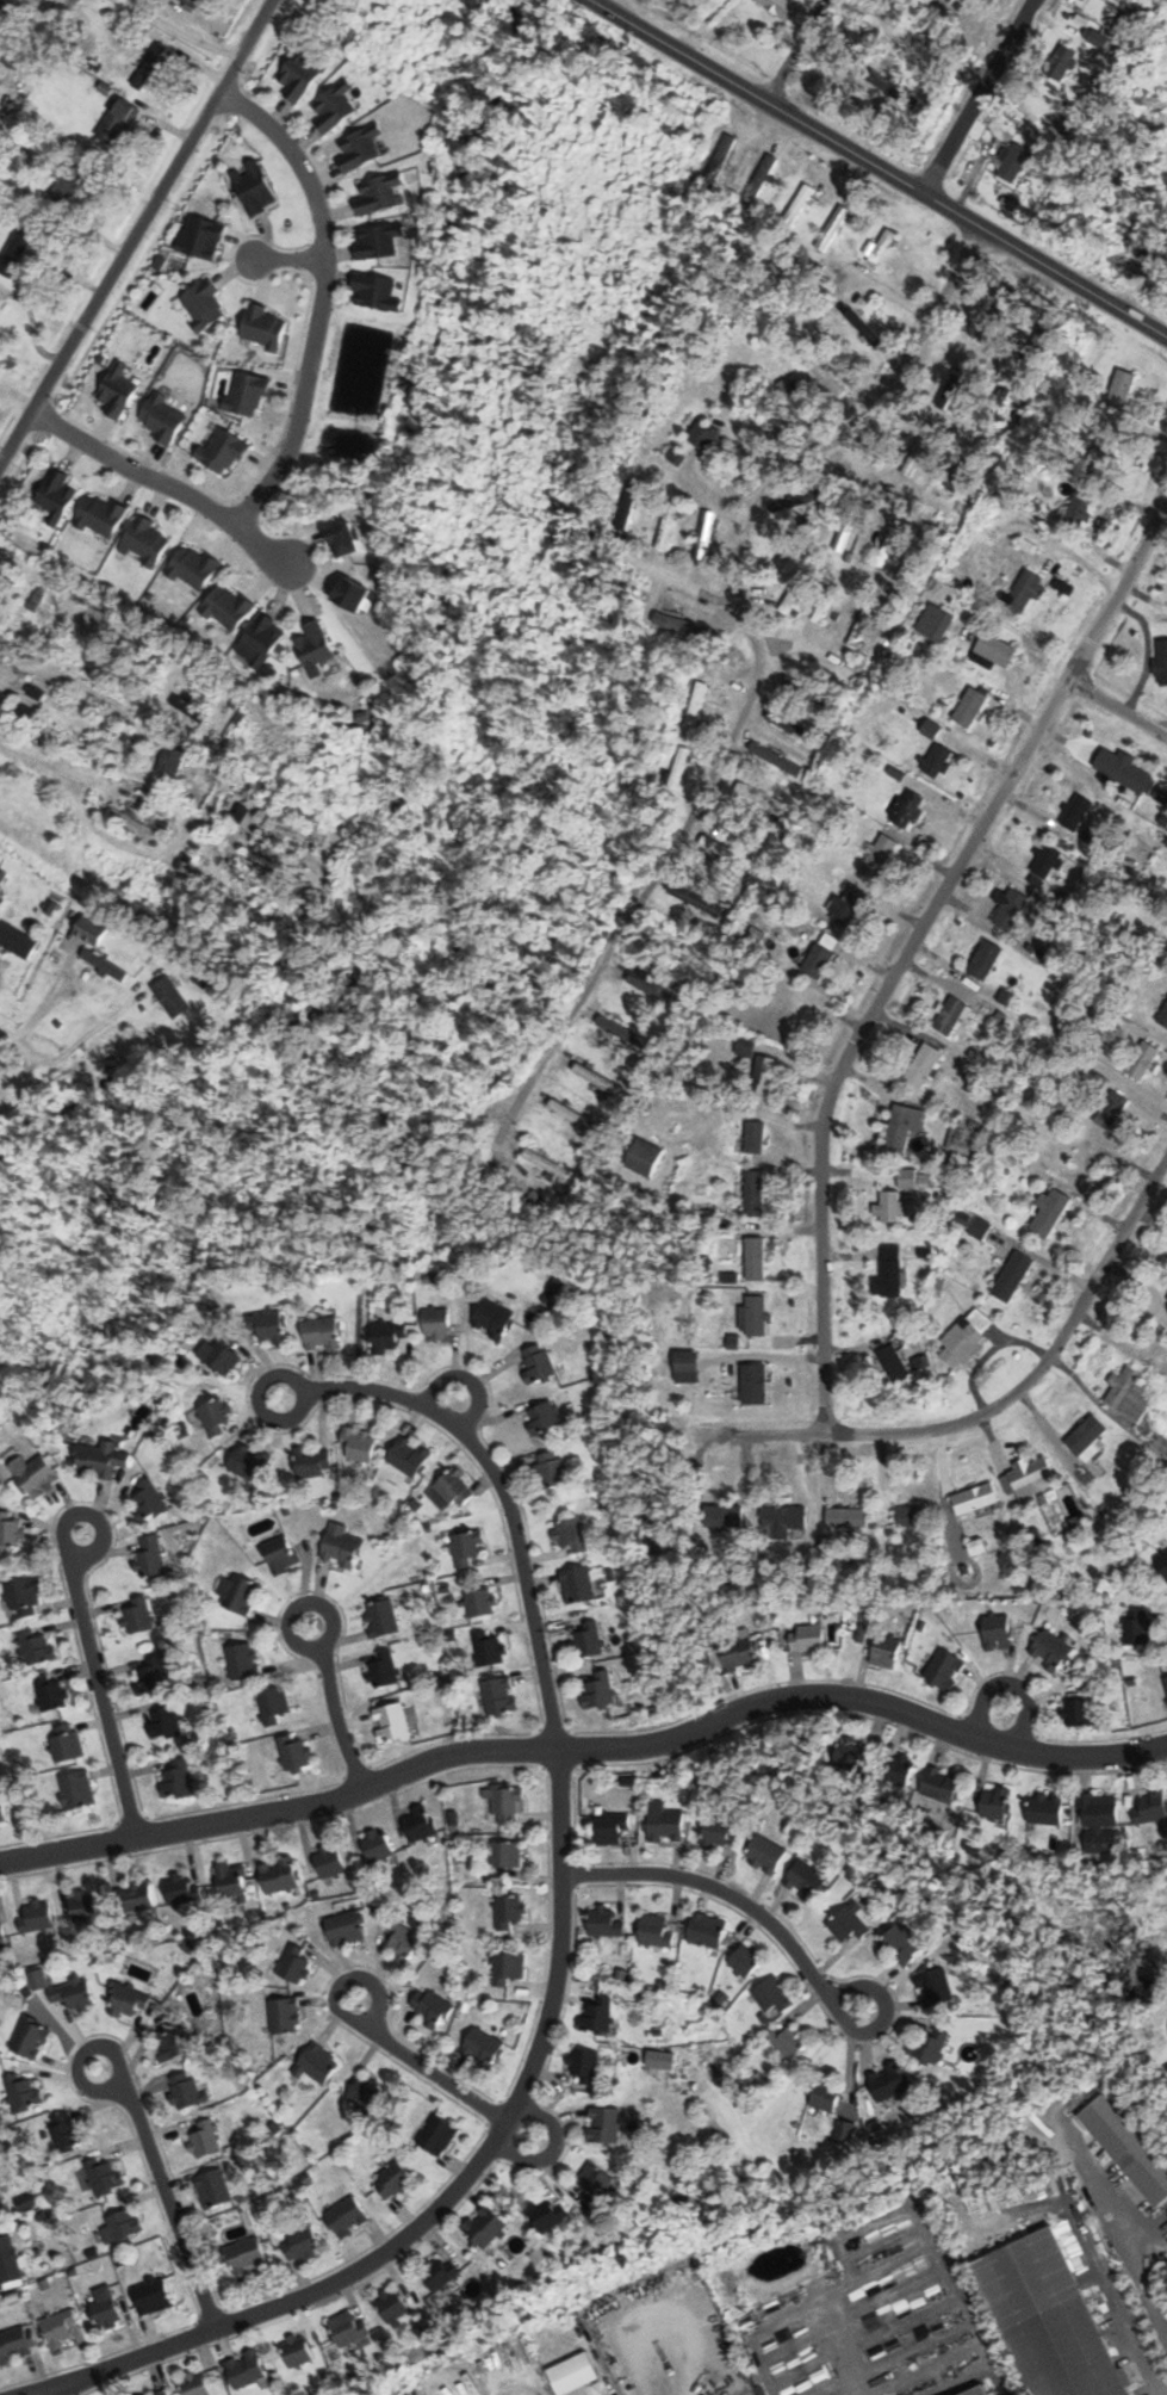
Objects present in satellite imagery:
building: (330, 1)
road: (55, 2)
building: (780, 7)
building: (1166, 24)
road: (181, 29)
building: (1093, 37)
road: (794, 50)
building: (151, 62)
building: (1062, 62)
building: (298, 75)
road: (980, 97)
building: (333, 109)
building: (117, 122)
building: (360, 149)
building: (1020, 156)
road: (879, 167)
building: (67, 184)
building: (255, 190)
building: (378, 194)
building: (833, 229)
road: (136, 230)
building: (378, 241)
building: (881, 248)
building: (15, 252)
road: (286, 256)
road: (1155, 264)
building: (375, 293)
road: (318, 295)
building: (203, 305)
building: (0, 321)
building: (263, 327)
building: (862, 328)
road: (974, 349)
building: (826, 379)
road: (888, 383)
building: (117, 390)
building: (1119, 390)
building: (247, 394)
building: (793, 402)
building: (163, 417)
building: (703, 437)
building: (222, 450)
building: (918, 450)
building: (1098, 462)
building: (962, 468)
road: (165, 483)
building: (57, 493)
building: (1078, 509)
building: (100, 515)
building: (666, 525)
building: (851, 526)
building: (704, 536)
building: (144, 541)
building: (889, 546)
building: (193, 565)
road: (670, 581)
building: (1024, 590)
building: (228, 607)
building: (935, 621)
building: (682, 624)
building: (259, 640)
building: (312, 646)
building: (993, 650)
building: (1162, 661)
building: (695, 706)
building: (970, 706)
building: (188, 708)
road: (1115, 713)
road: (136, 732)
building: (771, 753)
building: (172, 760)
building: (937, 760)
building: (679, 767)
building: (1124, 771)
road: (706, 782)
building: (759, 796)
building: (907, 809)
building: (1075, 811)
building: (132, 823)
building: (724, 850)
building: (879, 856)
building: (1047, 861)
building: (691, 898)
building: (850, 906)
building: (1011, 909)
road: (915, 935)
building: (17, 941)
building: (985, 959)
building: (818, 961)
building: (104, 965)
building: (648, 985)
building: (172, 997)
building: (787, 1015)
building: (950, 1015)
building: (1163, 1015)
building: (613, 1026)
building: (746, 1046)
building: (1142, 1059)
road: (45, 1060)
building: (924, 1065)
building: (763, 1075)
building: (597, 1078)
building: (1112, 1110)
building: (576, 1116)
building: (902, 1126)
building: (755, 1137)
building: (646, 1157)
building: (546, 1163)
building: (907, 1177)
building: (755, 1193)
building: (890, 1206)
building: (1049, 1213)
building: (756, 1258)
building: (888, 1271)
building: (1012, 1276)
building: (755, 1314)
building: (492, 1318)
building: (437, 1322)
building: (268, 1325)
building: (322, 1332)
building: (387, 1336)
building: (967, 1337)
building: (221, 1355)
building: (539, 1363)
building: (893, 1363)
building: (755, 1384)
building: (1128, 1392)
road: (1010, 1395)
building: (215, 1415)
building: (544, 1417)
building: (1087, 1435)
building: (359, 1443)
building: (409, 1456)
building: (103, 1459)
building: (314, 1460)
building: (249, 1461)
building: (552, 1468)
building: (35, 1474)
building: (1029, 1477)
building: (455, 1487)
road: (499, 1490)
building: (975, 1498)
building: (148, 1499)
building: (725, 1515)
building: (912, 1515)
building: (846, 1517)
building: (784, 1522)
building: (12, 1529)
building: (570, 1535)
building: (341, 1546)
building: (465, 1548)
building: (280, 1554)
building: (150, 1557)
building: (1162, 1562)
building: (577, 1585)
building: (238, 1593)
building: (25, 1598)
building: (480, 1603)
building: (137, 1614)
building: (381, 1617)
building: (1138, 1627)
building: (995, 1629)
building: (808, 1638)
building: (589, 1640)
building: (38, 1646)
building: (489, 1648)
building: (1050, 1651)
building: (738, 1652)
building: (886, 1652)
building: (242, 1661)
building: (384, 1669)
building: (944, 1670)
building: (151, 1676)
building: (1166, 1681)
road: (95, 1682)
building: (598, 1691)
building: (51, 1694)
building: (499, 1696)
building: (273, 1706)
road: (330, 1706)
building: (1078, 1713)
building: (163, 1722)
building: (391, 1722)
flagpole: (719, 1740)
building: (67, 1744)
building: (856, 1749)
road: (585, 1750)
building: (294, 1752)
building: (899, 1769)
building: (178, 1780)
building: (942, 1784)
building: (76, 1790)
building: (507, 1802)
building: (995, 1802)
building: (1150, 1805)
building: (1048, 1809)
building: (2, 1811)
building: (664, 1822)
building: (418, 1824)
building: (1099, 1824)
building: (610, 1827)
building: (719, 1833)
building: (377, 1844)
building: (505, 1855)
building: (765, 1855)
building: (329, 1861)
building: (278, 1875)
building: (231, 1880)
building: (806, 1881)
building: (184, 1888)
road: (725, 1893)
building: (137, 1898)
building: (83, 1906)
building: (508, 1911)
building: (39, 1916)
building: (603, 1921)
building: (848, 1923)
building: (344, 1927)
building: (1, 1930)
building: (656, 1930)
building: (707, 1930)
building: (402, 1942)
building: (902, 1944)
building: (746, 1960)
building: (294, 1963)
building: (507, 1968)
building: (936, 1987)
building: (73, 1994)
building: (772, 1995)
building: (128, 1999)
building: (432, 2006)
building: (285, 2016)
building: (597, 2016)
building: (30, 2038)
building: (788, 2040)
building: (173, 2044)
building: (482, 2046)
building: (930, 2046)
building: (317, 2062)
building: (585, 2068)
road: (434, 2075)
building: (888, 2083)
building: (187, 2090)
building: (21, 2092)
building: (365, 2092)
building: (826, 2094)
building: (603, 2125)
building: (67, 2131)
building: (437, 2135)
building: (206, 2140)
building: (1126, 2148)
building: (104, 2176)
building: (392, 2179)
building: (594, 2183)
building: (213, 2189)
road: (162, 2190)
road: (452, 2190)
building: (2, 2202)
building: (546, 2215)
building: (347, 2217)
building: (122, 2226)
building: (484, 2228)
building: (300, 2244)
building: (247, 2255)
building: (8, 2261)
building: (434, 2275)
building: (151, 2296)
building: (391, 2304)
building: (104, 2310)
building: (1048, 2319)
building: (347, 2328)
building: (56, 2329)
building: (14, 2345)
building: (296, 2350)
building: (246, 2369)
building: (572, 2374)
building: (194, 2384)
building: (980, 2391)
building: (161, 2393)

